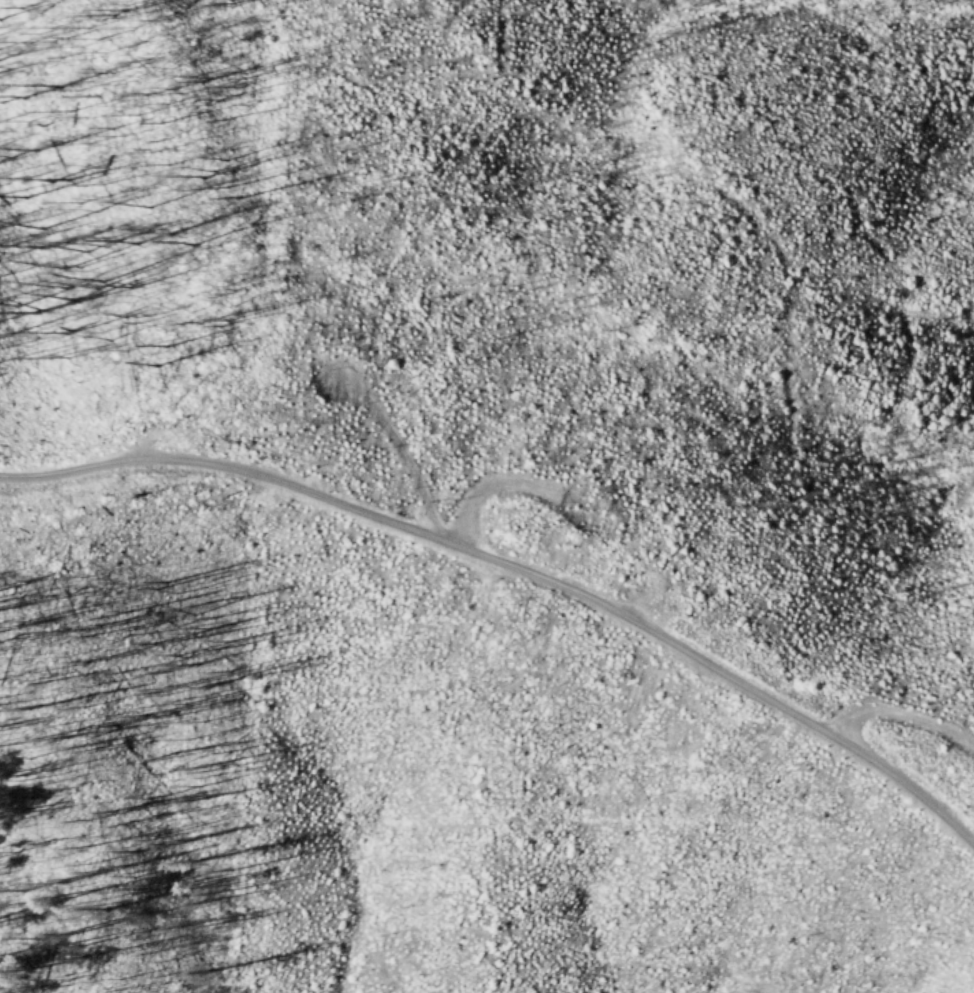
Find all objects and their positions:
road: (492, 484)
road: (515, 569)
road: (904, 714)

